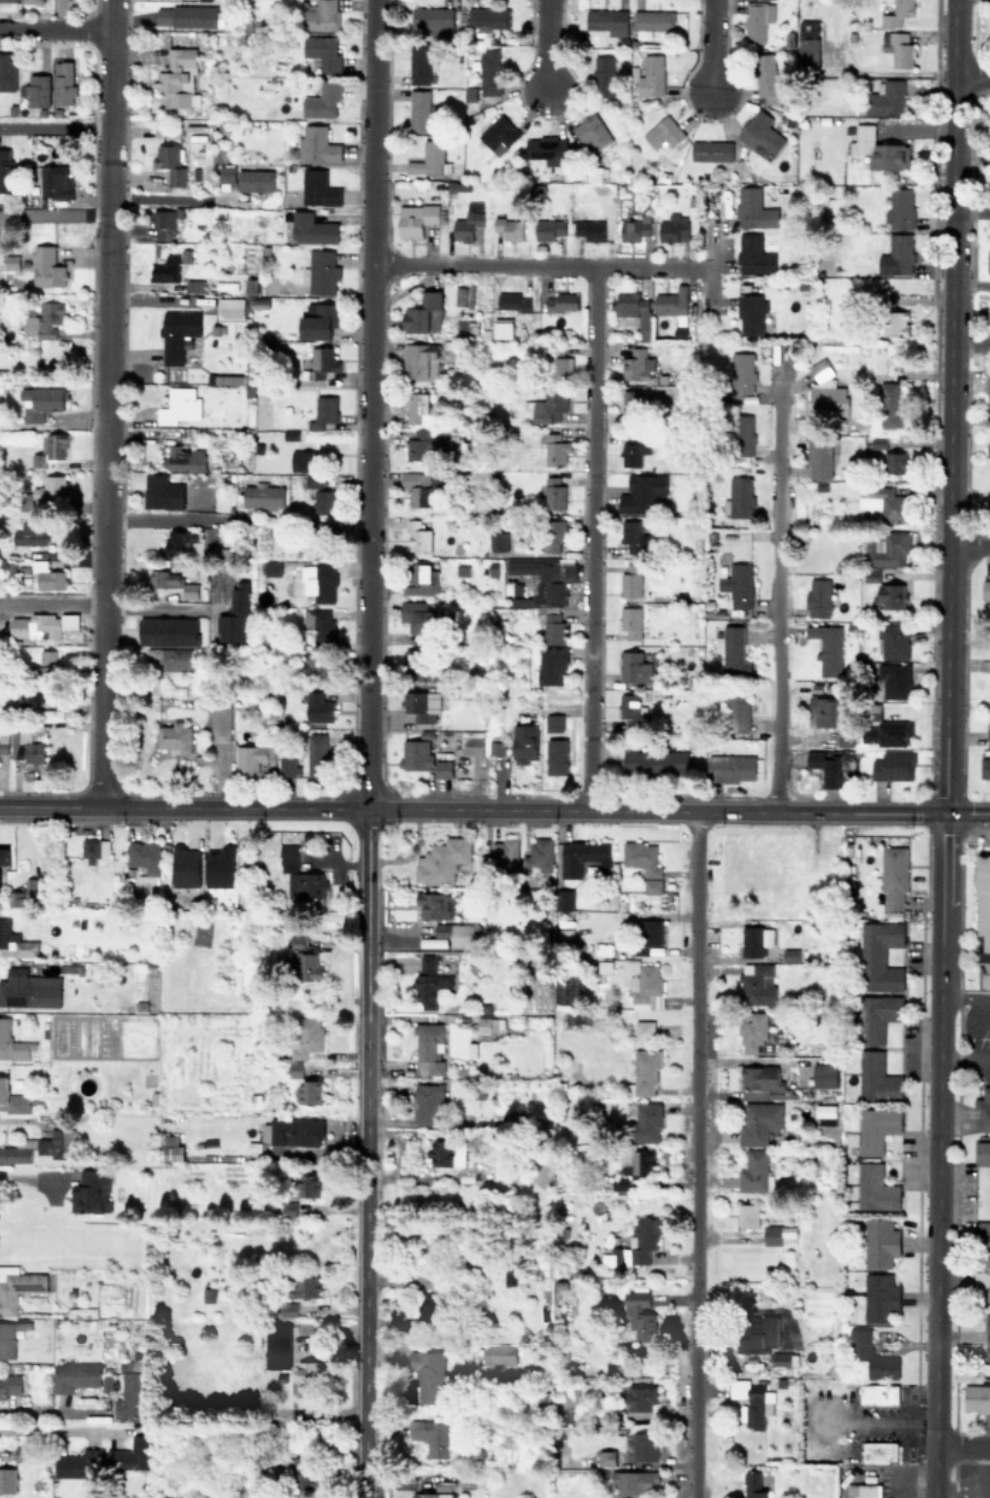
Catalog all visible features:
building: (8, 0)
building: (206, 0)
building: (32, 1)
building: (897, 13)
building: (322, 16)
building: (431, 16)
building: (488, 17)
building: (653, 19)
building: (757, 19)
building: (607, 20)
road: (52, 28)
building: (989, 32)
building: (789, 39)
road: (545, 44)
road: (708, 45)
building: (807, 47)
building: (896, 47)
building: (323, 51)
building: (419, 62)
building: (7, 71)
building: (489, 71)
road: (971, 72)
building: (652, 73)
building: (766, 73)
building: (604, 75)
building: (177, 79)
building: (63, 82)
building: (36, 90)
building: (886, 97)
building: (322, 100)
building: (418, 109)
road: (53, 124)
building: (591, 130)
building: (757, 130)
building: (662, 132)
building: (498, 133)
building: (317, 143)
building: (546, 148)
building: (879, 148)
building: (711, 149)
building: (427, 157)
building: (171, 161)
building: (225, 171)
building: (8, 172)
building: (255, 179)
building: (55, 182)
building: (316, 189)
road: (167, 197)
building: (899, 207)
building: (754, 208)
road: (52, 214)
building: (162, 217)
building: (414, 219)
building: (989, 226)
building: (463, 227)
building: (509, 227)
building: (673, 227)
building: (311, 228)
building: (635, 228)
building: (549, 229)
building: (589, 229)
building: (899, 253)
building: (753, 254)
building: (988, 260)
road: (539, 264)
building: (47, 267)
building: (166, 268)
building: (321, 270)
building: (194, 285)
building: (513, 301)
building: (561, 301)
building: (672, 302)
building: (258, 303)
building: (230, 307)
building: (636, 309)
building: (424, 312)
building: (751, 313)
building: (43, 319)
building: (318, 320)
building: (895, 322)
building: (177, 332)
building: (420, 359)
building: (323, 360)
building: (637, 365)
building: (560, 366)
building: (742, 374)
building: (988, 390)
building: (826, 393)
building: (631, 401)
building: (40, 402)
road: (106, 402)
road: (369, 403)
building: (890, 403)
building: (180, 405)
building: (548, 405)
building: (418, 406)
road: (947, 406)
building: (323, 411)
building: (742, 434)
building: (429, 442)
building: (56, 445)
building: (988, 445)
building: (633, 447)
building: (556, 449)
building: (819, 456)
building: (184, 457)
building: (305, 459)
building: (896, 461)
building: (313, 481)
building: (419, 486)
building: (50, 487)
building: (162, 491)
building: (554, 491)
building: (640, 494)
building: (263, 496)
building: (739, 497)
building: (324, 501)
building: (893, 505)
road: (173, 519)
building: (554, 532)
building: (29, 534)
building: (419, 535)
building: (633, 536)
road: (590, 537)
building: (175, 540)
building: (498, 540)
building: (325, 543)
road: (968, 544)
building: (887, 547)
building: (272, 566)
building: (47, 576)
building: (543, 577)
building: (630, 578)
building: (171, 580)
building: (319, 580)
building: (422, 580)
building: (738, 584)
road: (778, 588)
building: (986, 588)
building: (891, 595)
building: (819, 597)
road: (53, 602)
road: (158, 608)
building: (235, 614)
building: (419, 616)
building: (630, 622)
building: (43, 624)
building: (321, 624)
building: (554, 627)
building: (168, 631)
building: (894, 640)
building: (828, 647)
building: (732, 649)
building: (170, 658)
building: (46, 663)
building: (419, 663)
building: (551, 665)
building: (633, 666)
building: (319, 669)
building: (896, 680)
building: (30, 696)
building: (421, 704)
building: (318, 706)
building: (632, 709)
building: (821, 710)
building: (737, 711)
building: (220, 723)
building: (989, 725)
building: (885, 732)
building: (174, 736)
building: (845, 739)
building: (3, 742)
building: (472, 742)
building: (524, 743)
building: (496, 744)
building: (26, 747)
building: (254, 752)
building: (318, 755)
building: (654, 761)
building: (424, 763)
building: (825, 765)
building: (893, 765)
building: (287, 766)
building: (730, 766)
building: (985, 767)
road: (74, 804)
road: (545, 808)
road: (965, 812)
building: (94, 849)
building: (500, 854)
building: (3, 855)
building: (538, 856)
building: (582, 856)
building: (143, 858)
building: (289, 859)
building: (442, 860)
building: (644, 863)
building: (185, 866)
building: (219, 866)
building: (894, 876)
building: (306, 885)
building: (17, 898)
building: (564, 899)
building: (434, 904)
building: (983, 920)
building: (455, 933)
building: (649, 935)
building: (756, 940)
building: (15, 942)
building: (790, 954)
building: (880, 956)
building: (305, 961)
building: (429, 982)
building: (757, 984)
building: (646, 986)
building: (29, 989)
road: (962, 996)
road: (986, 1008)
building: (878, 1017)
building: (489, 1025)
building: (644, 1029)
building: (754, 1033)
road: (975, 1033)
building: (306, 1036)
building: (12, 1042)
building: (430, 1046)
road: (956, 1059)
road: (982, 1059)
building: (295, 1068)
building: (644, 1072)
building: (825, 1075)
building: (877, 1077)
building: (764, 1080)
building: (308, 1092)
building: (13, 1098)
building: (428, 1104)
building: (984, 1108)
building: (825, 1110)
building: (643, 1121)
building: (760, 1123)
building: (877, 1128)
building: (294, 1133)
building: (56, 1143)
building: (172, 1148)
road: (363, 1152)
building: (982, 1152)
building: (446, 1153)
building: (15, 1154)
road: (695, 1154)
road: (936, 1154)
building: (639, 1162)
building: (755, 1172)
road: (33, 1174)
building: (309, 1184)
building: (619, 1184)
building: (876, 1188)
building: (90, 1191)
building: (748, 1215)
building: (982, 1232)
building: (779, 1234)
building: (644, 1238)
building: (881, 1242)
building: (610, 1257)
building: (983, 1279)
building: (17, 1286)
building: (305, 1286)
building: (880, 1297)
building: (430, 1308)
building: (639, 1314)
building: (751, 1337)
building: (987, 1337)
building: (8, 1338)
building: (860, 1341)
building: (278, 1347)
building: (499, 1353)
building: (781, 1357)
building: (649, 1366)
building: (306, 1370)
building: (778, 1370)
building: (75, 1375)
building: (430, 1375)
building: (9, 1384)
building: (132, 1390)
building: (878, 1393)
building: (976, 1397)
building: (641, 1398)
building: (751, 1401)
road: (46, 1409)
building: (433, 1436)
road: (961, 1444)
building: (645, 1445)
building: (879, 1452)
building: (20, 1453)
building: (132, 1454)
building: (606, 1457)
road: (955, 1462)
building: (78, 1464)
road: (983, 1471)
building: (7, 1479)
building: (633, 1481)
building: (753, 1484)
building: (862, 1490)
building: (432, 1495)

